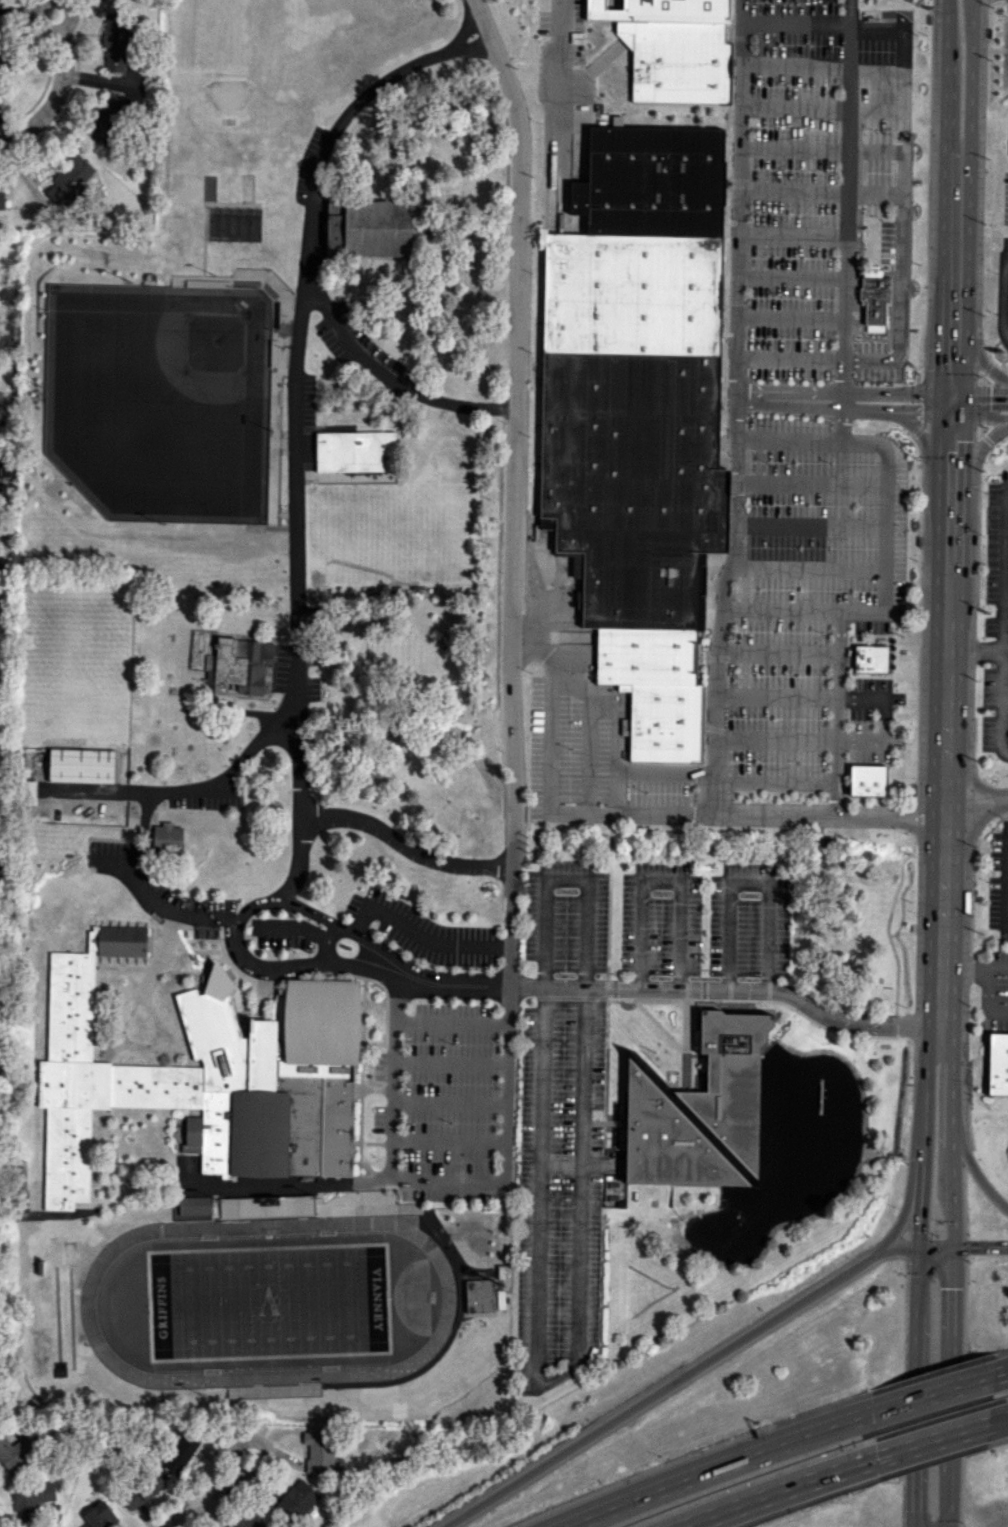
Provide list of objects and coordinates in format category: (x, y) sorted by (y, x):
road: (971, 9)
building: (672, 10)
road: (17, 14)
road: (946, 15)
road: (69, 17)
road: (36, 22)
road: (795, 23)
building: (0, 40)
building: (115, 42)
building: (678, 61)
building: (1, 62)
road: (794, 66)
road: (903, 67)
road: (876, 68)
road: (562, 83)
road: (970, 85)
road: (944, 90)
road: (51, 99)
road: (794, 106)
building: (106, 119)
road: (793, 148)
road: (898, 173)
building: (70, 180)
building: (652, 182)
road: (792, 190)
parking lot: (818, 190)
road: (846, 196)
building: (1, 197)
parking lot: (1005, 199)
building: (334, 206)
building: (370, 229)
road: (791, 236)
road: (954, 237)
parking lot: (1004, 256)
road: (856, 266)
road: (791, 276)
building: (632, 293)
building: (874, 298)
road: (898, 300)
road: (1003, 300)
road: (790, 318)
building: (6, 339)
road: (789, 357)
road: (976, 358)
traffic signals: (953, 365)
park: (166, 373)
road: (389, 380)
road: (871, 394)
traffic signals: (990, 398)
road: (952, 400)
road: (838, 401)
road: (735, 406)
building: (630, 409)
road: (871, 412)
traffic signals: (921, 417)
road: (296, 422)
road: (786, 438)
road: (927, 443)
traffic signals: (951, 444)
road: (978, 447)
building: (355, 452)
building: (4, 467)
road: (810, 485)
road: (810, 527)
building: (638, 539)
parking lot: (996, 557)
road: (808, 570)
road: (1004, 571)
road: (782, 612)
road: (886, 614)
road: (947, 614)
road: (512, 639)
parking lot: (756, 642)
road: (777, 651)
road: (976, 652)
building: (870, 659)
building: (240, 664)
building: (655, 690)
road: (776, 698)
road: (863, 699)
road: (1001, 705)
parking lot: (994, 709)
road: (615, 725)
road: (775, 741)
road: (862, 742)
road: (588, 752)
building: (81, 766)
road: (944, 768)
road: (664, 772)
building: (868, 779)
road: (971, 781)
road: (774, 784)
road: (196, 791)
road: (548, 793)
road: (923, 802)
road: (976, 810)
road: (805, 815)
road: (943, 823)
building: (167, 837)
road: (923, 838)
road: (406, 844)
road: (567, 878)
road: (659, 881)
road: (1005, 881)
road: (749, 883)
road: (154, 900)
parking lot: (564, 917)
parking lot: (659, 920)
parking lot: (747, 921)
road: (230, 928)
road: (293, 928)
road: (420, 936)
road: (325, 943)
road: (942, 945)
road: (964, 968)
road: (997, 969)
road: (727, 990)
parking lot: (993, 990)
road: (985, 1001)
road: (451, 1024)
building: (997, 1061)
road: (450, 1063)
building: (205, 1078)
road: (392, 1086)
road: (450, 1103)
building: (699, 1107)
road: (449, 1143)
road: (951, 1156)
road: (559, 1167)
road: (972, 1167)
road: (449, 1180)
parking lot: (559, 1191)
building: (191, 1206)
road: (904, 1212)
traffic signals: (918, 1232)
traffic signals: (966, 1246)
road: (957, 1247)
road: (915, 1275)
traffic signals: (953, 1288)
building: (480, 1296)
track: (424, 1301)
park: (268, 1304)
road: (699, 1365)
road: (1000, 1373)
road: (549, 1381)
road: (932, 1393)
road: (951, 1405)
road: (997, 1422)
road: (931, 1441)
building: (16, 1452)
building: (181, 1452)
building: (318, 1452)
road: (262, 1463)
road: (716, 1466)
building: (142, 1490)
road: (778, 1491)
building: (31, 1500)
building: (296, 1500)
road: (200, 1505)
traffic signals: (914, 1511)
building: (99, 1516)
road: (919, 1519)
building: (248, 1520)
road: (948, 1525)
road: (949, 1525)

